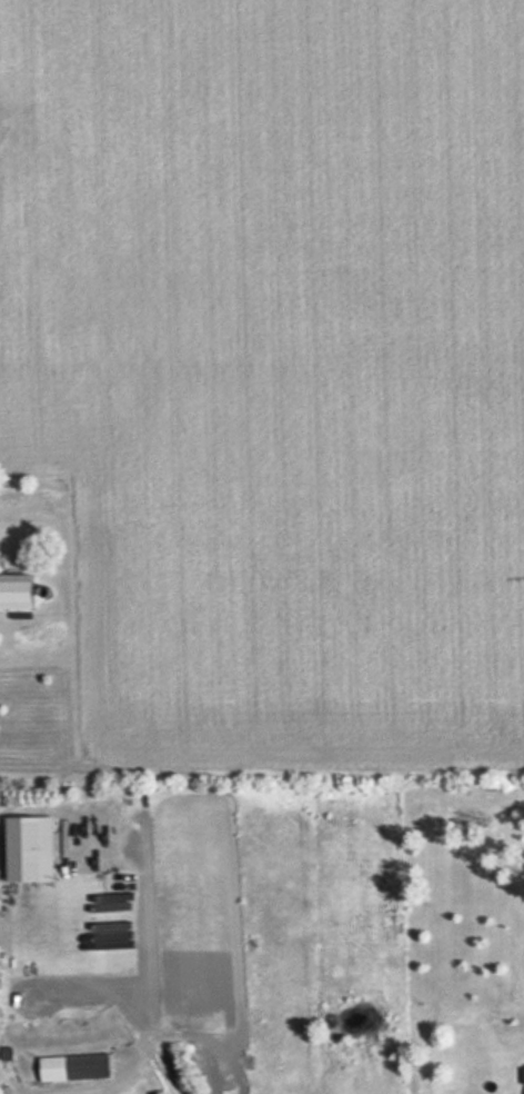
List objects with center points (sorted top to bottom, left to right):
building: (13, 594)
building: (72, 1068)

